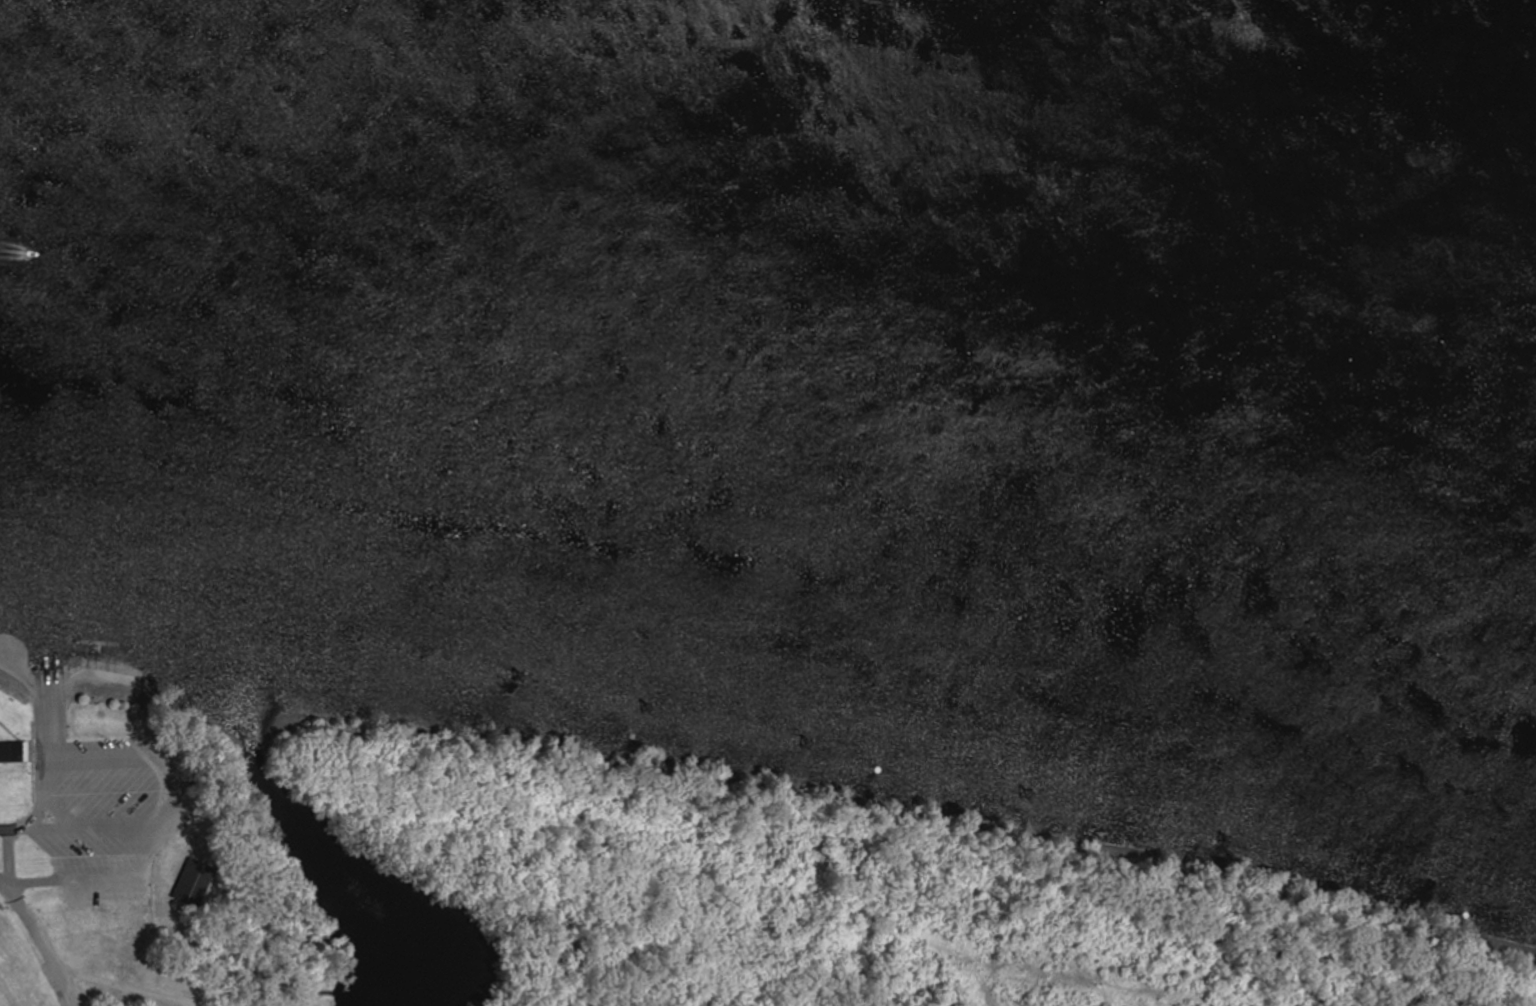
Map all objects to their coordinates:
river: (770, 297)
building: (11, 753)
building: (190, 882)
road: (38, 945)
road: (131, 986)

